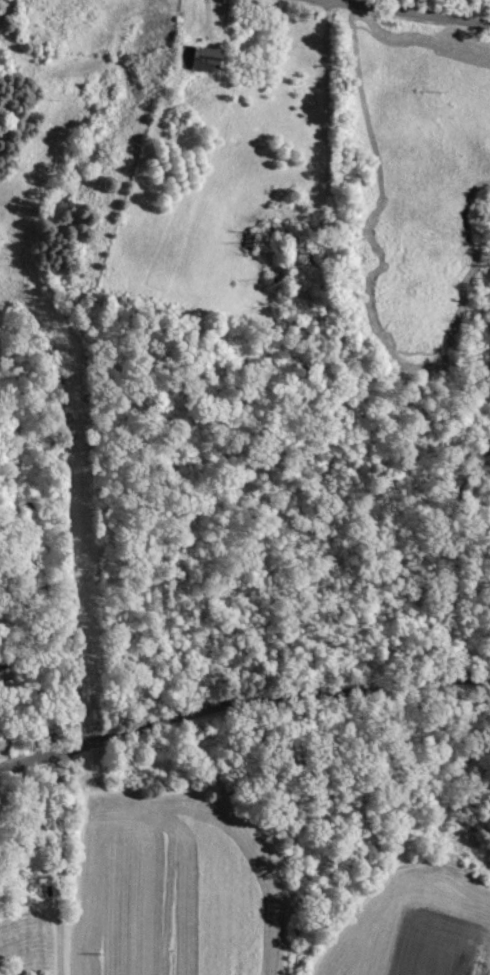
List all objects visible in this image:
road: (364, 18)
building: (195, 59)
road: (240, 695)
road: (60, 862)

